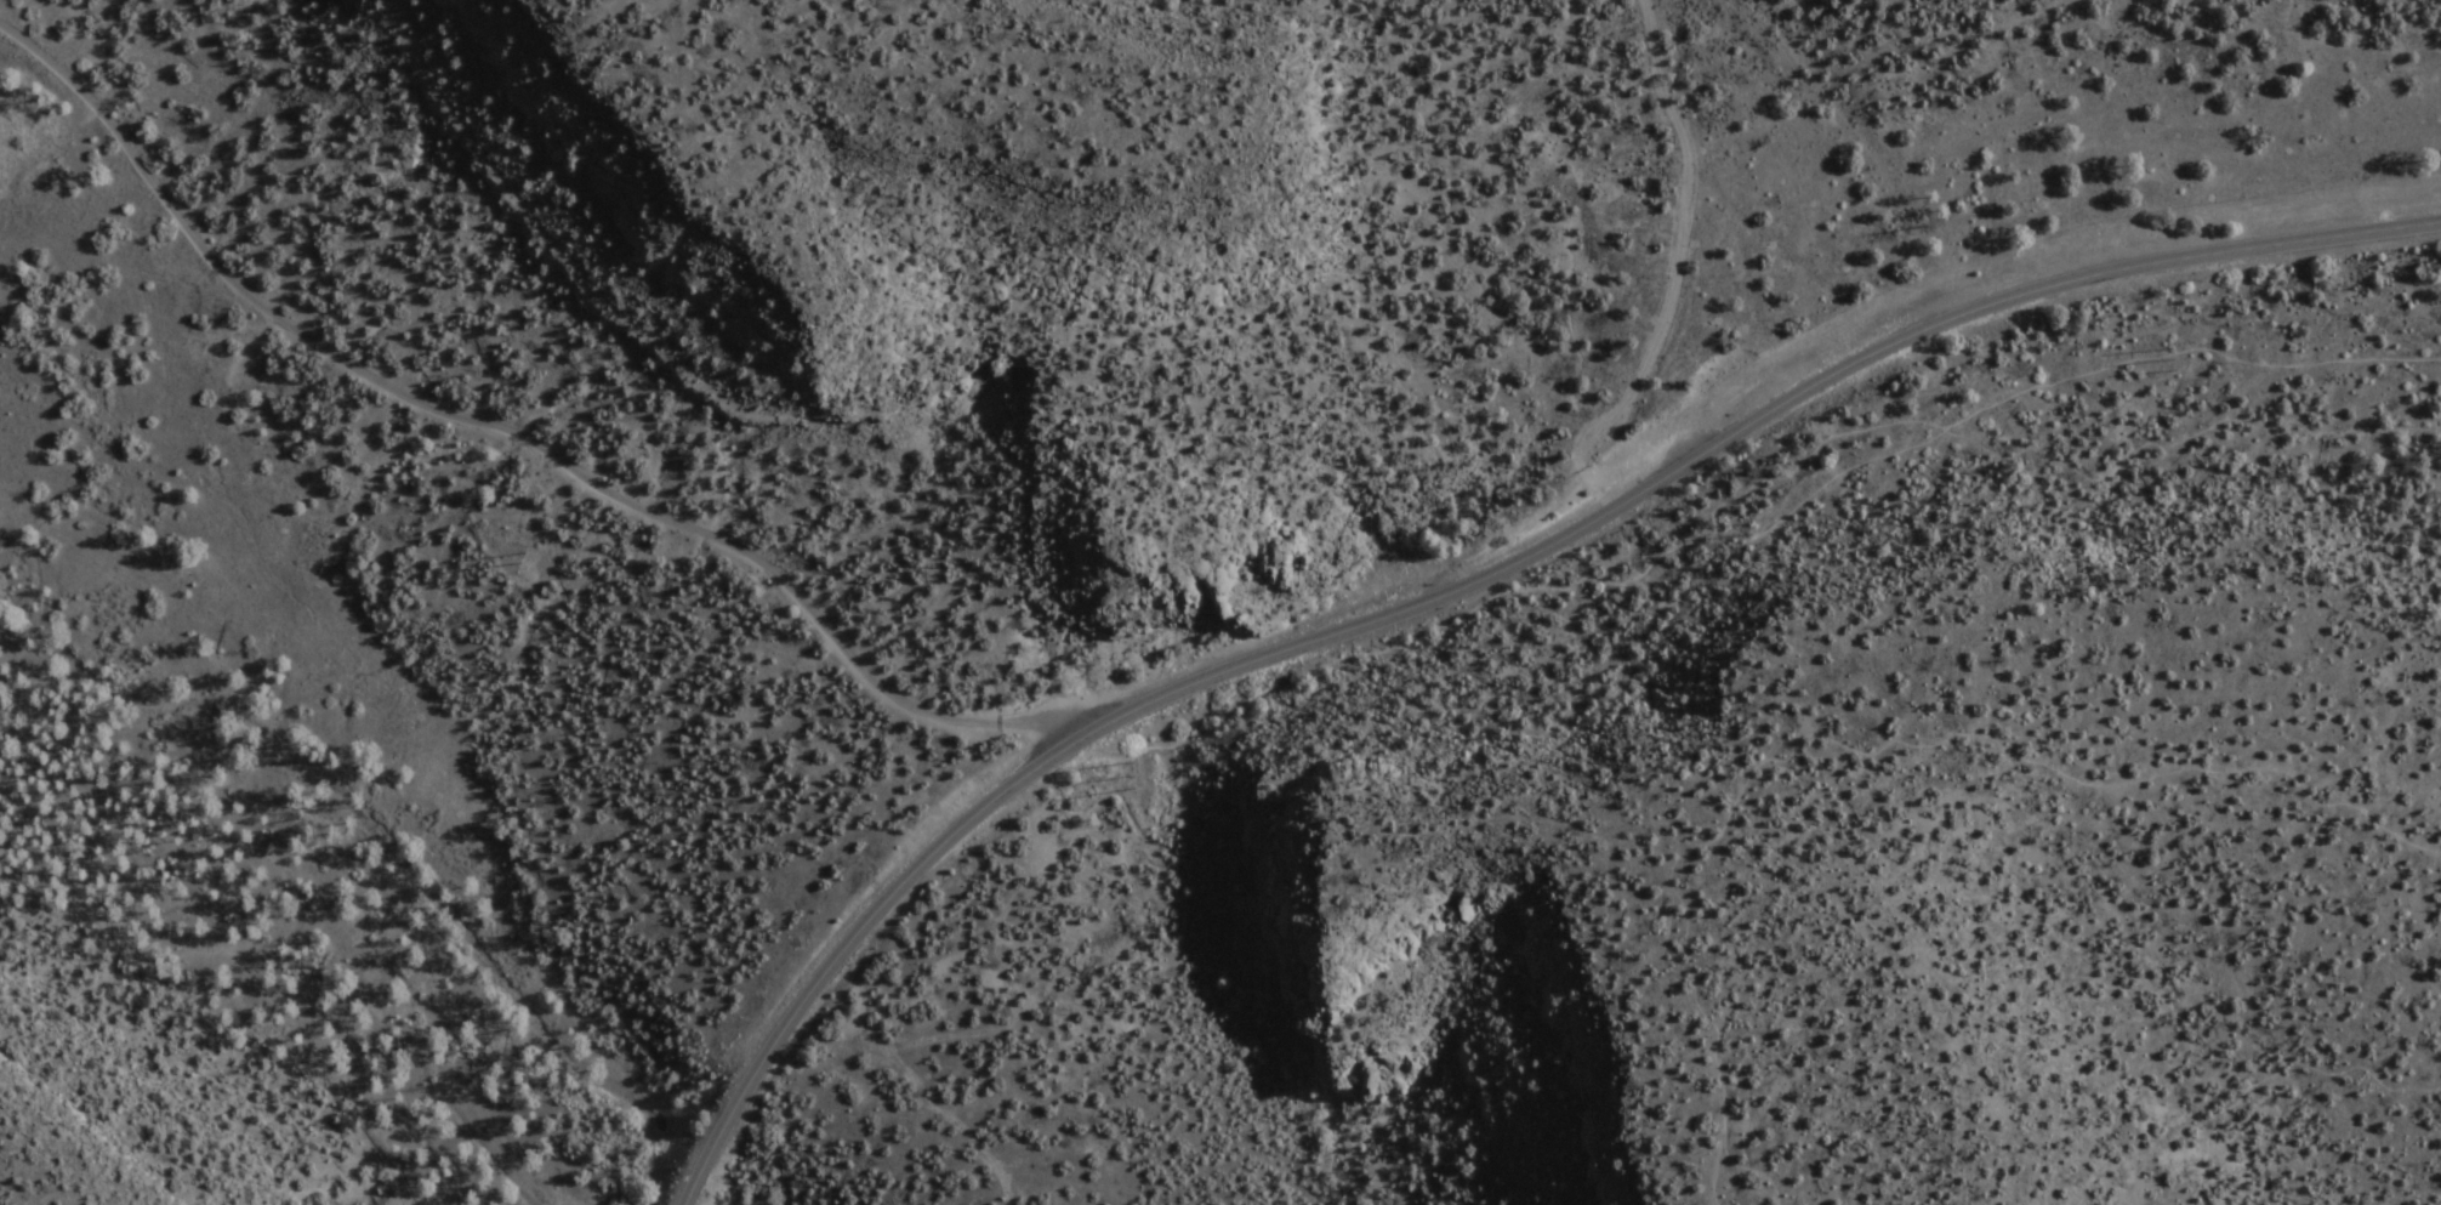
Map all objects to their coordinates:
road: (1682, 254)
parking lot: (1672, 414)
road: (514, 445)
road: (1790, 467)
road: (1474, 581)
road: (1854, 748)
road: (1132, 757)
road: (1241, 977)
road: (2277, 1061)

